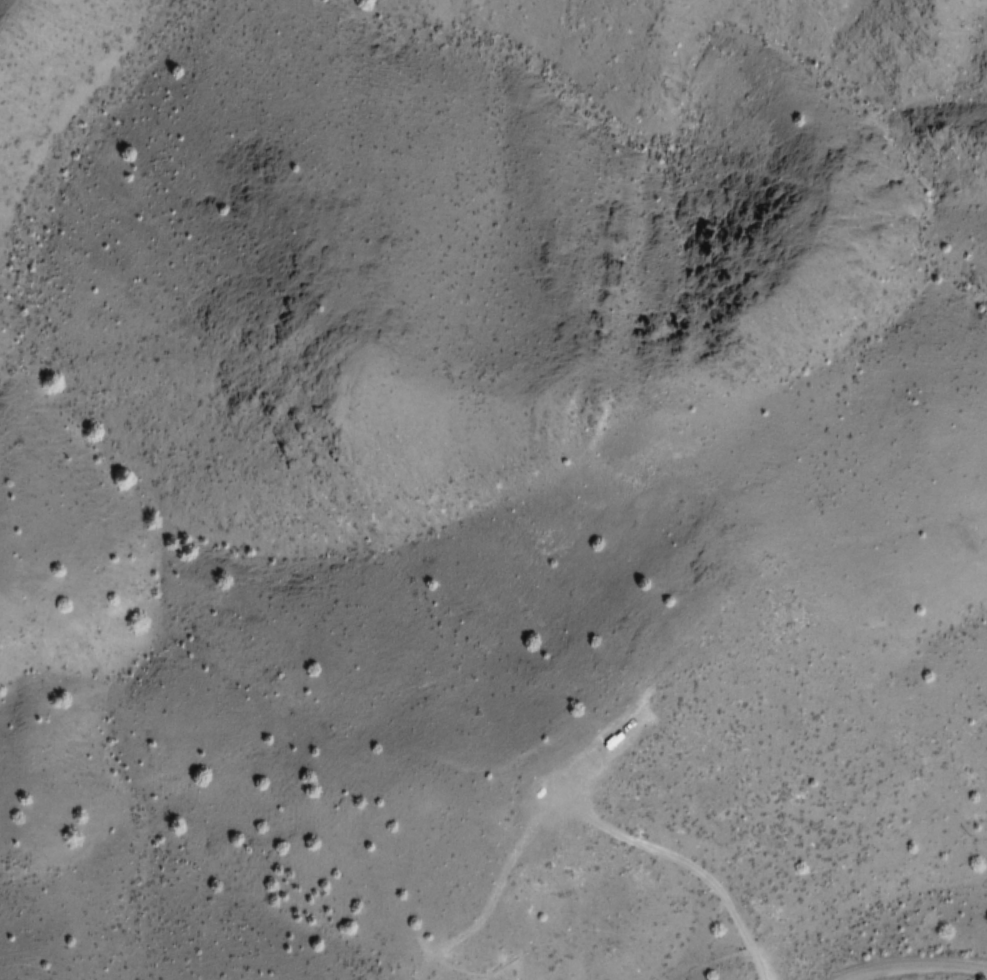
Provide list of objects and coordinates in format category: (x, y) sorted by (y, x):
road: (538, 792)
road: (705, 877)
road: (905, 960)

